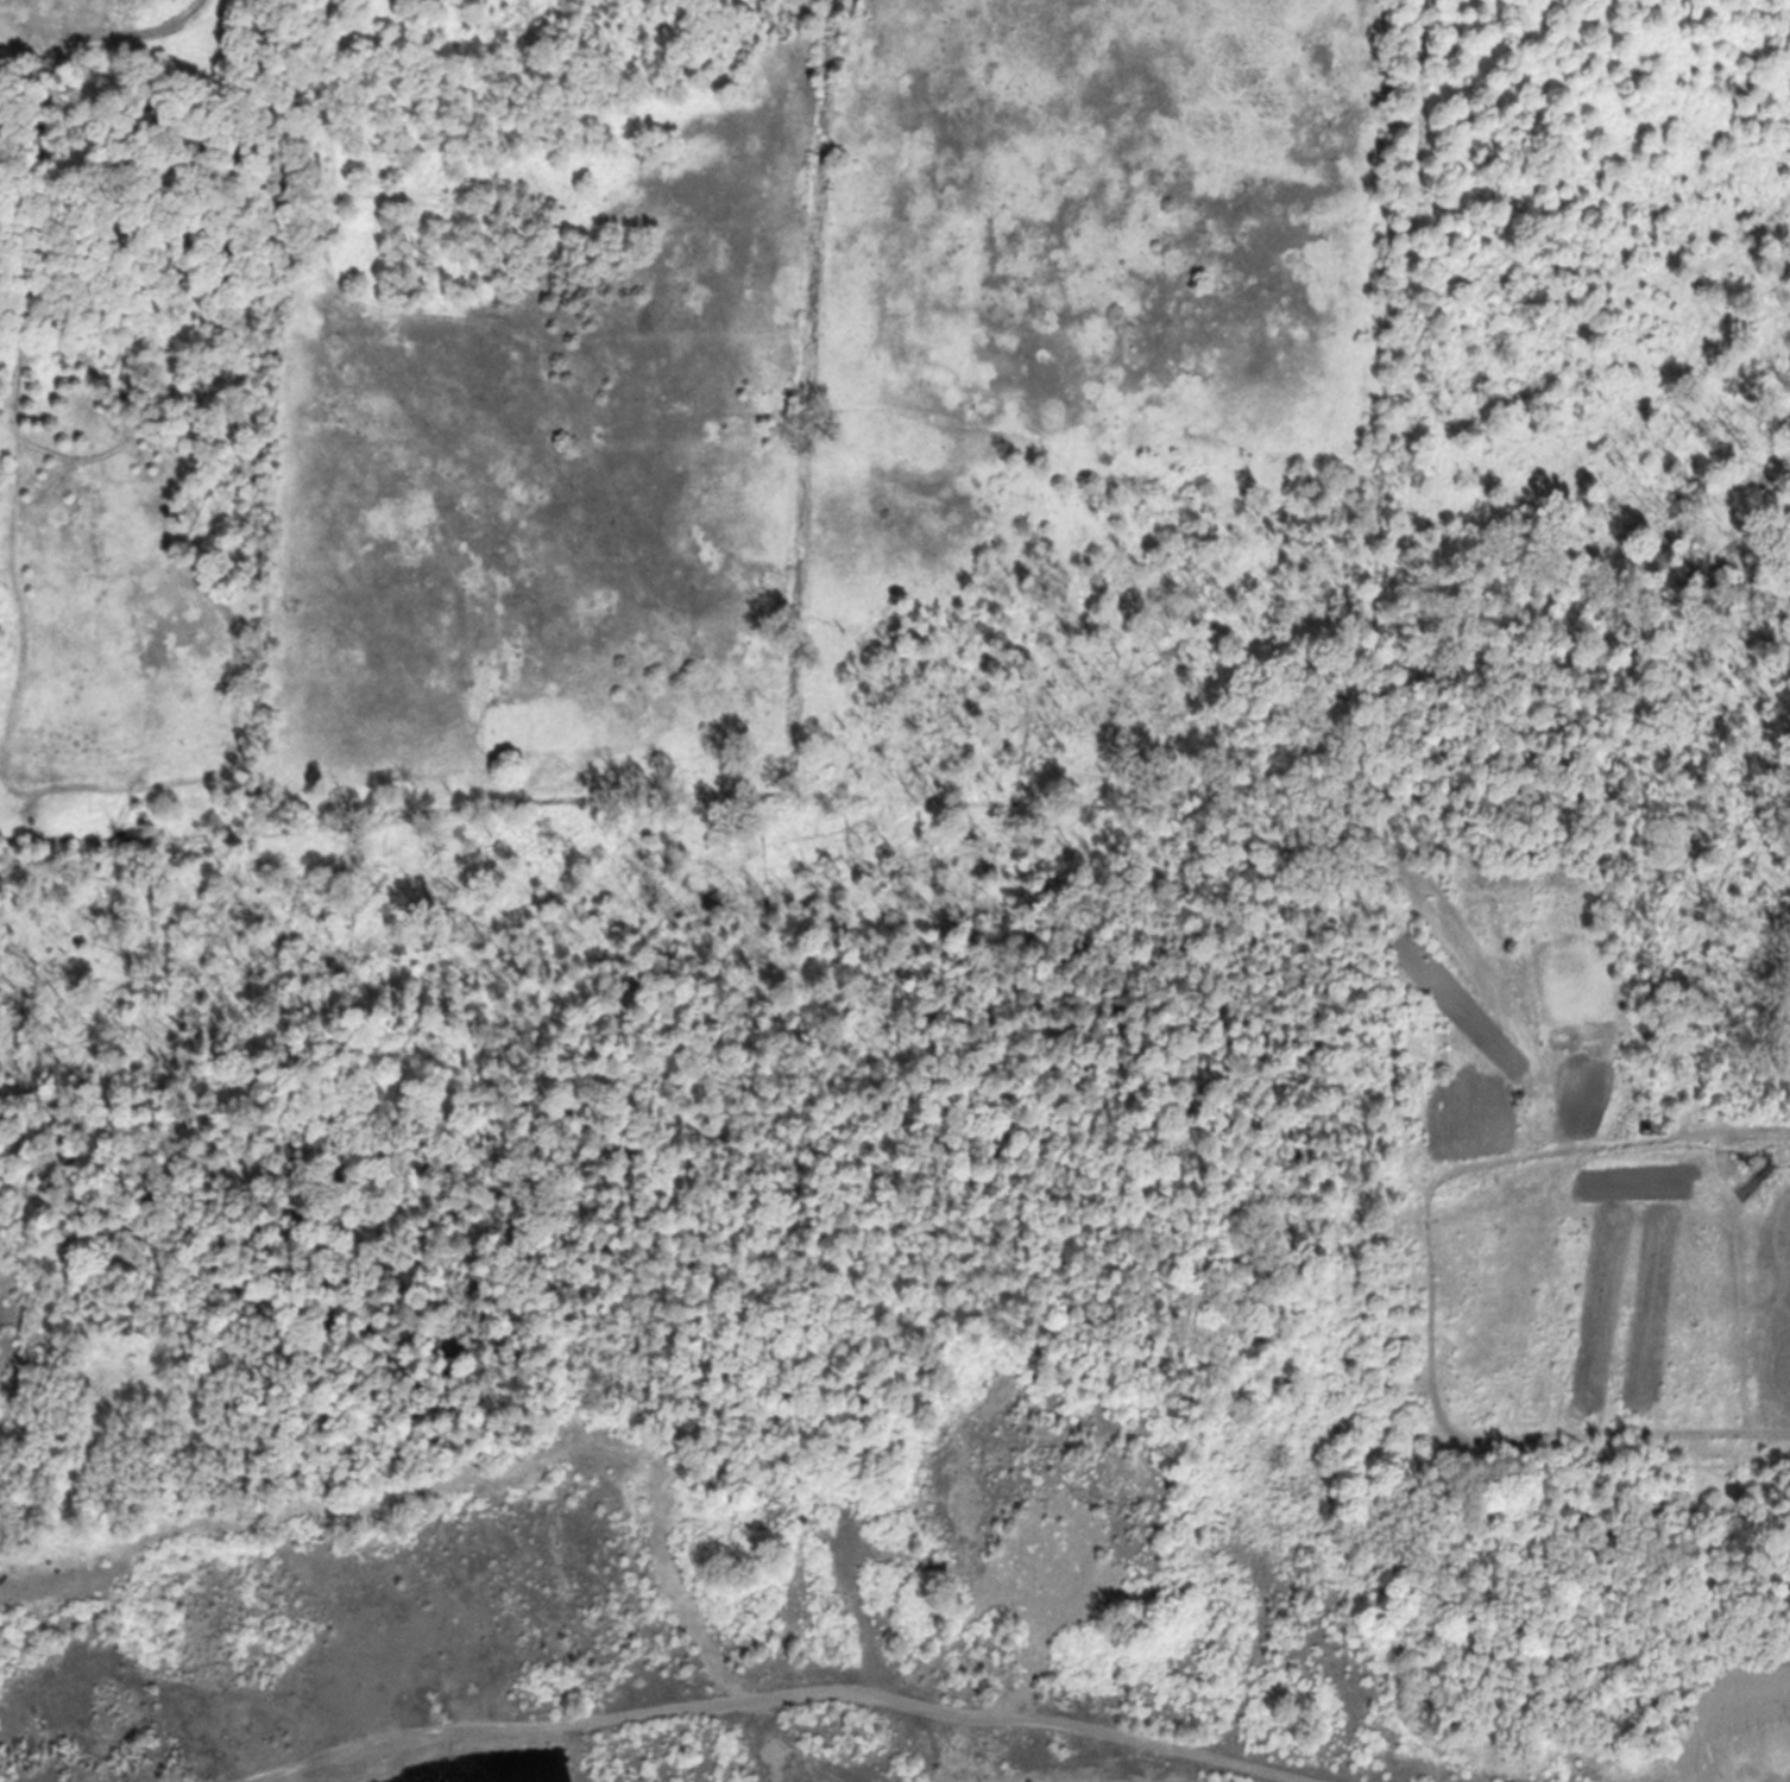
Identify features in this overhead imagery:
building: (1645, 1124)
road: (758, 1693)

